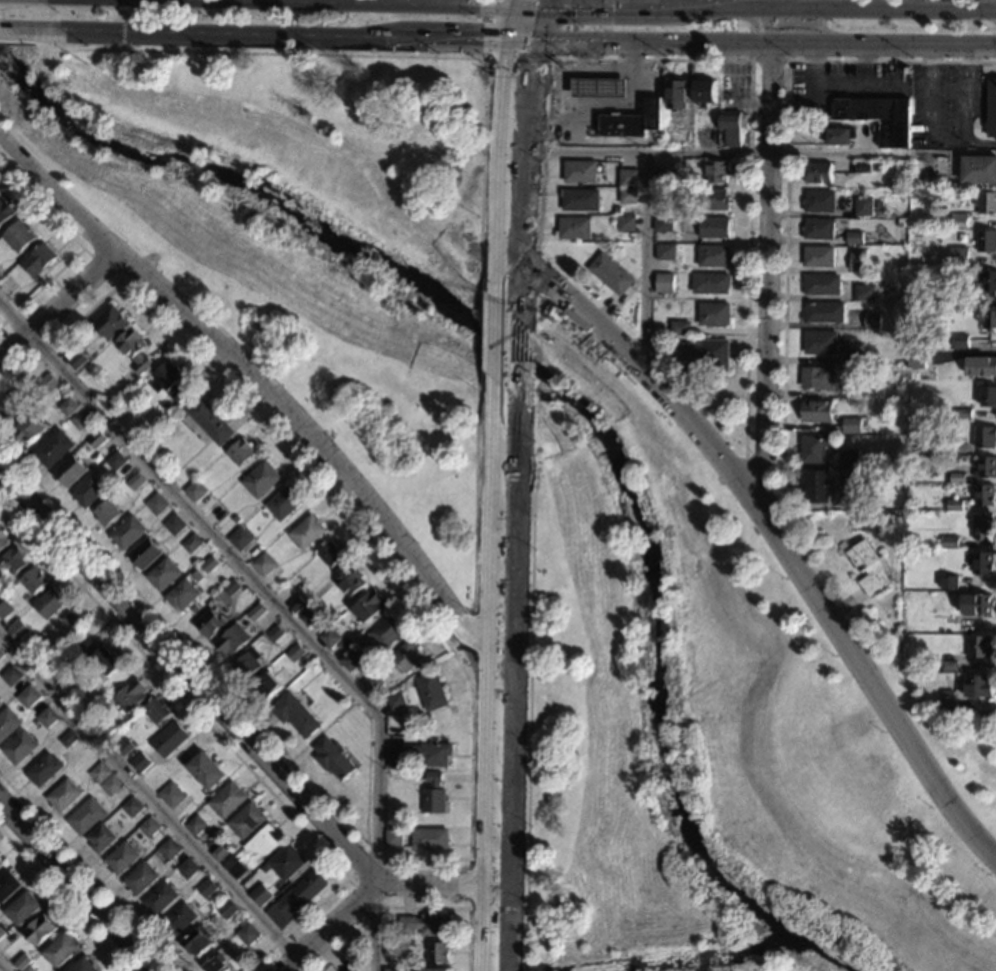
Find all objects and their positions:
road: (519, 2)
road: (542, 2)
road: (629, 3)
road: (676, 3)
traffic signals: (565, 5)
road: (654, 6)
road: (808, 22)
road: (514, 23)
road: (122, 24)
road: (537, 24)
road: (6, 30)
road: (207, 35)
road: (18, 42)
road: (455, 42)
traffic signals: (489, 43)
road: (521, 43)
road: (764, 46)
road: (751, 49)
road: (262, 53)
road: (519, 59)
road: (750, 60)
traffic signals: (532, 63)
road: (596, 73)
road: (557, 78)
road: (529, 86)
building: (599, 88)
building: (704, 91)
building: (676, 93)
road: (564, 103)
road: (601, 104)
parking lot: (944, 104)
building: (991, 109)
building: (877, 115)
building: (743, 116)
building: (631, 122)
building: (730, 126)
building: (677, 136)
building: (835, 136)
road: (949, 142)
road: (980, 143)
road: (732, 150)
building: (861, 166)
building: (875, 167)
building: (979, 168)
road: (500, 169)
building: (579, 171)
building: (717, 171)
building: (818, 172)
building: (660, 173)
road: (482, 174)
building: (628, 177)
road: (786, 183)
building: (664, 194)
building: (628, 196)
building: (579, 198)
building: (716, 199)
building: (819, 200)
building: (984, 201)
building: (864, 206)
building: (852, 210)
building: (616, 211)
building: (5, 212)
building: (957, 219)
building: (626, 223)
building: (662, 223)
building: (898, 223)
road: (521, 224)
building: (575, 227)
building: (714, 227)
building: (818, 228)
park: (306, 232)
building: (19, 237)
building: (854, 237)
building: (986, 239)
road: (80, 245)
building: (665, 251)
building: (713, 255)
building: (818, 256)
building: (958, 256)
road: (644, 257)
road: (766, 259)
building: (857, 260)
building: (39, 263)
road: (100, 264)
road: (500, 264)
road: (533, 273)
building: (611, 273)
building: (941, 276)
building: (985, 280)
building: (710, 282)
building: (664, 283)
building: (820, 284)
building: (8, 288)
building: (864, 292)
road: (59, 306)
road: (530, 312)
building: (823, 312)
building: (714, 313)
building: (987, 318)
building: (871, 320)
building: (110, 325)
building: (680, 327)
road: (482, 330)
road: (493, 336)
building: (959, 340)
building: (819, 342)
building: (136, 351)
building: (706, 354)
building: (917, 356)
building: (74, 357)
building: (852, 357)
road: (518, 358)
building: (981, 365)
road: (530, 369)
building: (913, 369)
building: (817, 377)
building: (170, 383)
building: (48, 385)
building: (853, 389)
road: (269, 392)
building: (988, 396)
river: (564, 407)
building: (15, 408)
building: (69, 409)
building: (817, 409)
building: (963, 413)
building: (81, 421)
building: (212, 423)
building: (851, 425)
building: (30, 432)
road: (764, 435)
building: (985, 437)
building: (98, 442)
building: (944, 445)
building: (814, 448)
building: (55, 451)
building: (241, 454)
building: (850, 458)
building: (117, 463)
building: (986, 467)
building: (71, 473)
building: (956, 478)
building: (261, 482)
building: (136, 484)
building: (819, 486)
road: (474, 492)
building: (89, 493)
building: (196, 493)
building: (983, 494)
building: (954, 504)
building: (157, 506)
building: (284, 506)
building: (108, 515)
building: (235, 521)
building: (982, 526)
building: (175, 527)
building: (308, 534)
building: (129, 535)
road: (779, 535)
building: (241, 541)
building: (950, 541)
building: (3, 543)
building: (193, 546)
building: (146, 556)
building: (331, 557)
building: (14, 563)
building: (982, 563)
road: (241, 565)
building: (870, 566)
building: (210, 567)
building: (264, 567)
building: (166, 577)
building: (35, 582)
building: (950, 582)
building: (350, 584)
building: (232, 590)
building: (184, 597)
building: (977, 603)
building: (51, 606)
building: (297, 607)
building: (369, 608)
building: (5, 610)
building: (256, 614)
building: (305, 616)
building: (75, 623)
building: (211, 625)
building: (19, 632)
building: (389, 633)
building: (275, 636)
building: (331, 641)
building: (233, 642)
road: (472, 643)
building: (979, 646)
building: (38, 650)
building: (2, 655)
building: (296, 656)
building: (101, 659)
building: (408, 659)
building: (351, 663)
building: (248, 665)
building: (949, 665)
road: (487, 673)
road: (190, 677)
building: (12, 678)
road: (513, 684)
building: (373, 685)
building: (980, 685)
building: (266, 688)
road: (529, 689)
building: (432, 694)
building: (132, 698)
building: (30, 699)
building: (948, 700)
building: (0, 702)
building: (1, 704)
building: (397, 704)
building: (158, 713)
building: (295, 717)
building: (49, 720)
building: (9, 725)
park: (724, 725)
building: (107, 729)
road: (219, 738)
building: (70, 741)
building: (170, 741)
road: (470, 744)
building: (21, 749)
building: (126, 750)
building: (421, 758)
building: (332, 761)
building: (141, 764)
building: (46, 771)
building: (207, 773)
building: (101, 774)
building: (112, 787)
building: (433, 796)
road: (148, 797)
building: (171, 797)
building: (65, 798)
building: (227, 802)
building: (132, 809)
building: (87, 817)
building: (246, 822)
building: (194, 826)
building: (149, 827)
building: (102, 840)
building: (263, 841)
building: (393, 841)
building: (429, 842)
building: (168, 849)
building: (219, 853)
building: (122, 859)
building: (285, 862)
building: (2, 864)
building: (186, 869)
road: (89, 872)
building: (239, 873)
building: (141, 880)
road: (349, 881)
road: (446, 885)
building: (8, 886)
road: (74, 887)
building: (206, 889)
building: (259, 895)
building: (294, 899)
road: (64, 900)
building: (160, 900)
road: (411, 907)
road: (472, 908)
building: (25, 909)
building: (226, 910)
building: (179, 922)
road: (334, 927)
building: (426, 927)
building: (40, 931)
building: (1, 934)
road: (373, 934)
building: (245, 935)
building: (197, 944)
building: (62, 950)
building: (391, 950)
building: (439, 955)
building: (22, 962)
building: (215, 965)
building: (85, 966)
road: (2, 968)
building: (28, 969)
building: (350, 970)
building: (394, 970)
building: (434, 970)

